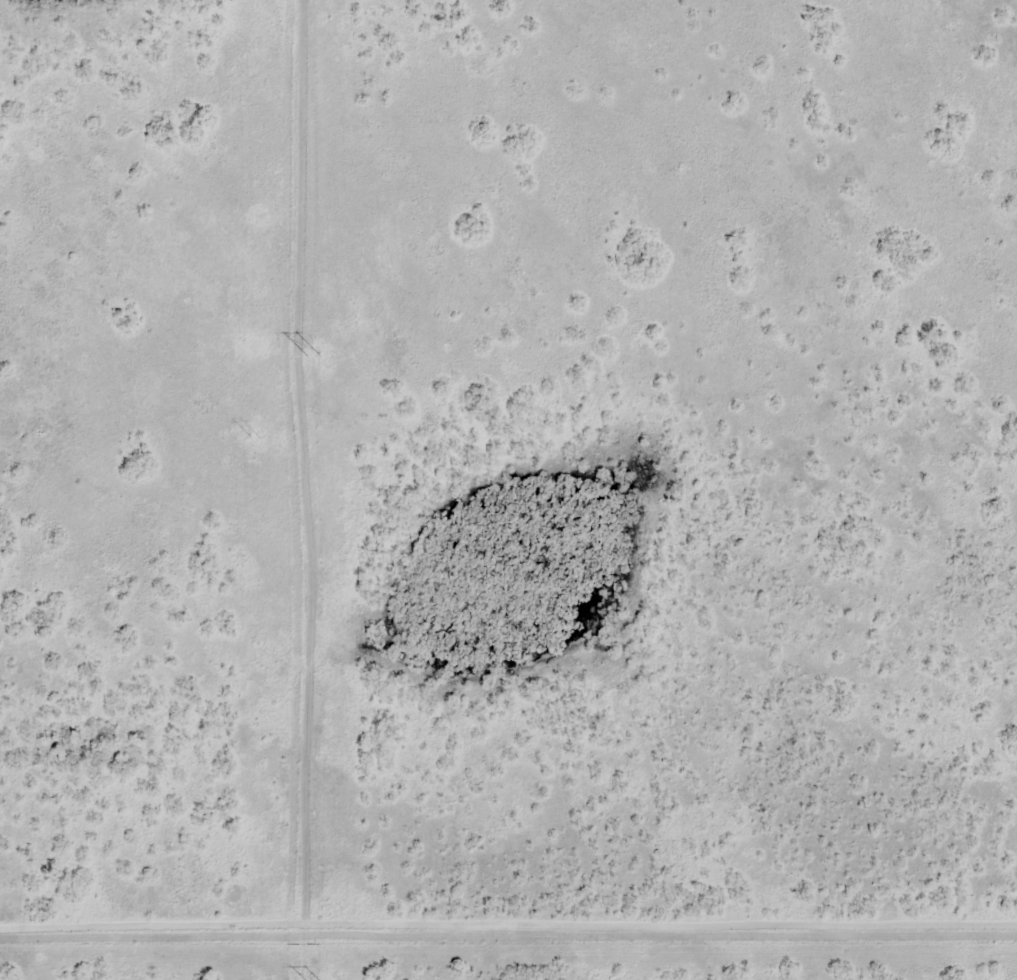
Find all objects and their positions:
power tower: (314, 357)
power tower: (255, 438)

